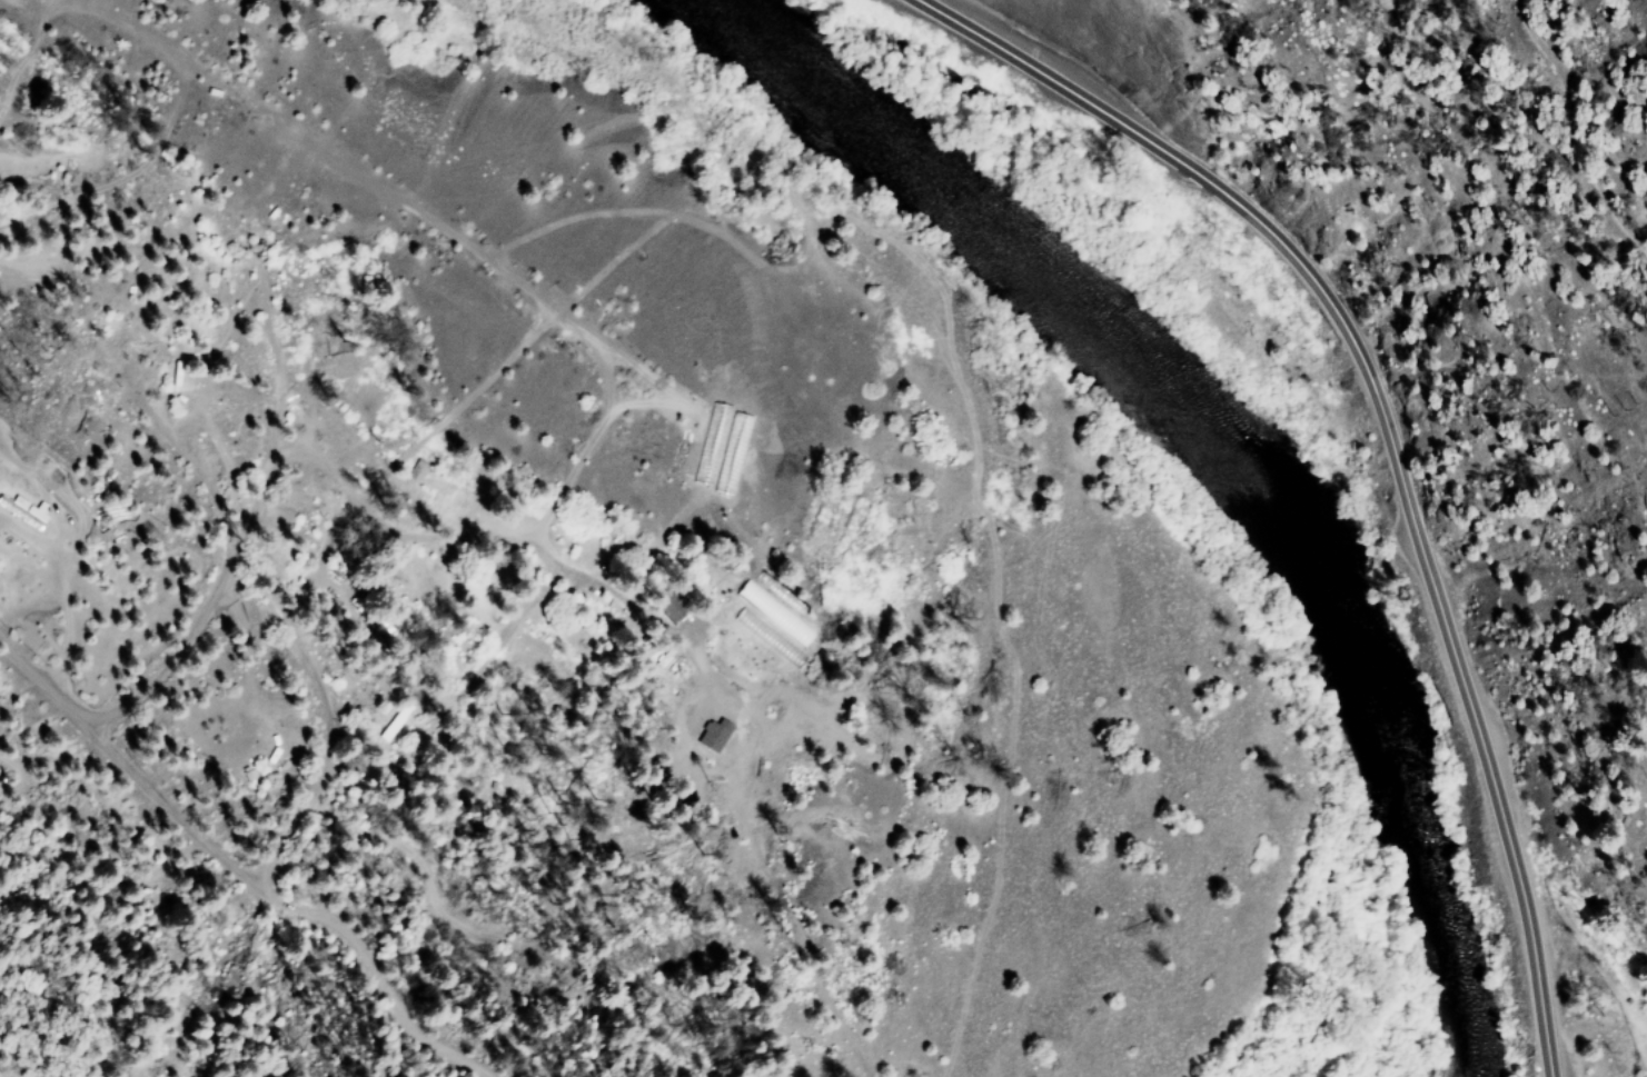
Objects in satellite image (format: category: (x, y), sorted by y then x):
road: (1561, 114)
power tower: (1615, 408)
road: (1391, 425)
river: (1221, 453)
building: (415, 471)
building: (20, 512)
road: (271, 588)
road: (530, 588)
road: (364, 622)
building: (771, 624)
building: (711, 735)
road: (379, 749)
road: (113, 804)
road: (375, 968)

